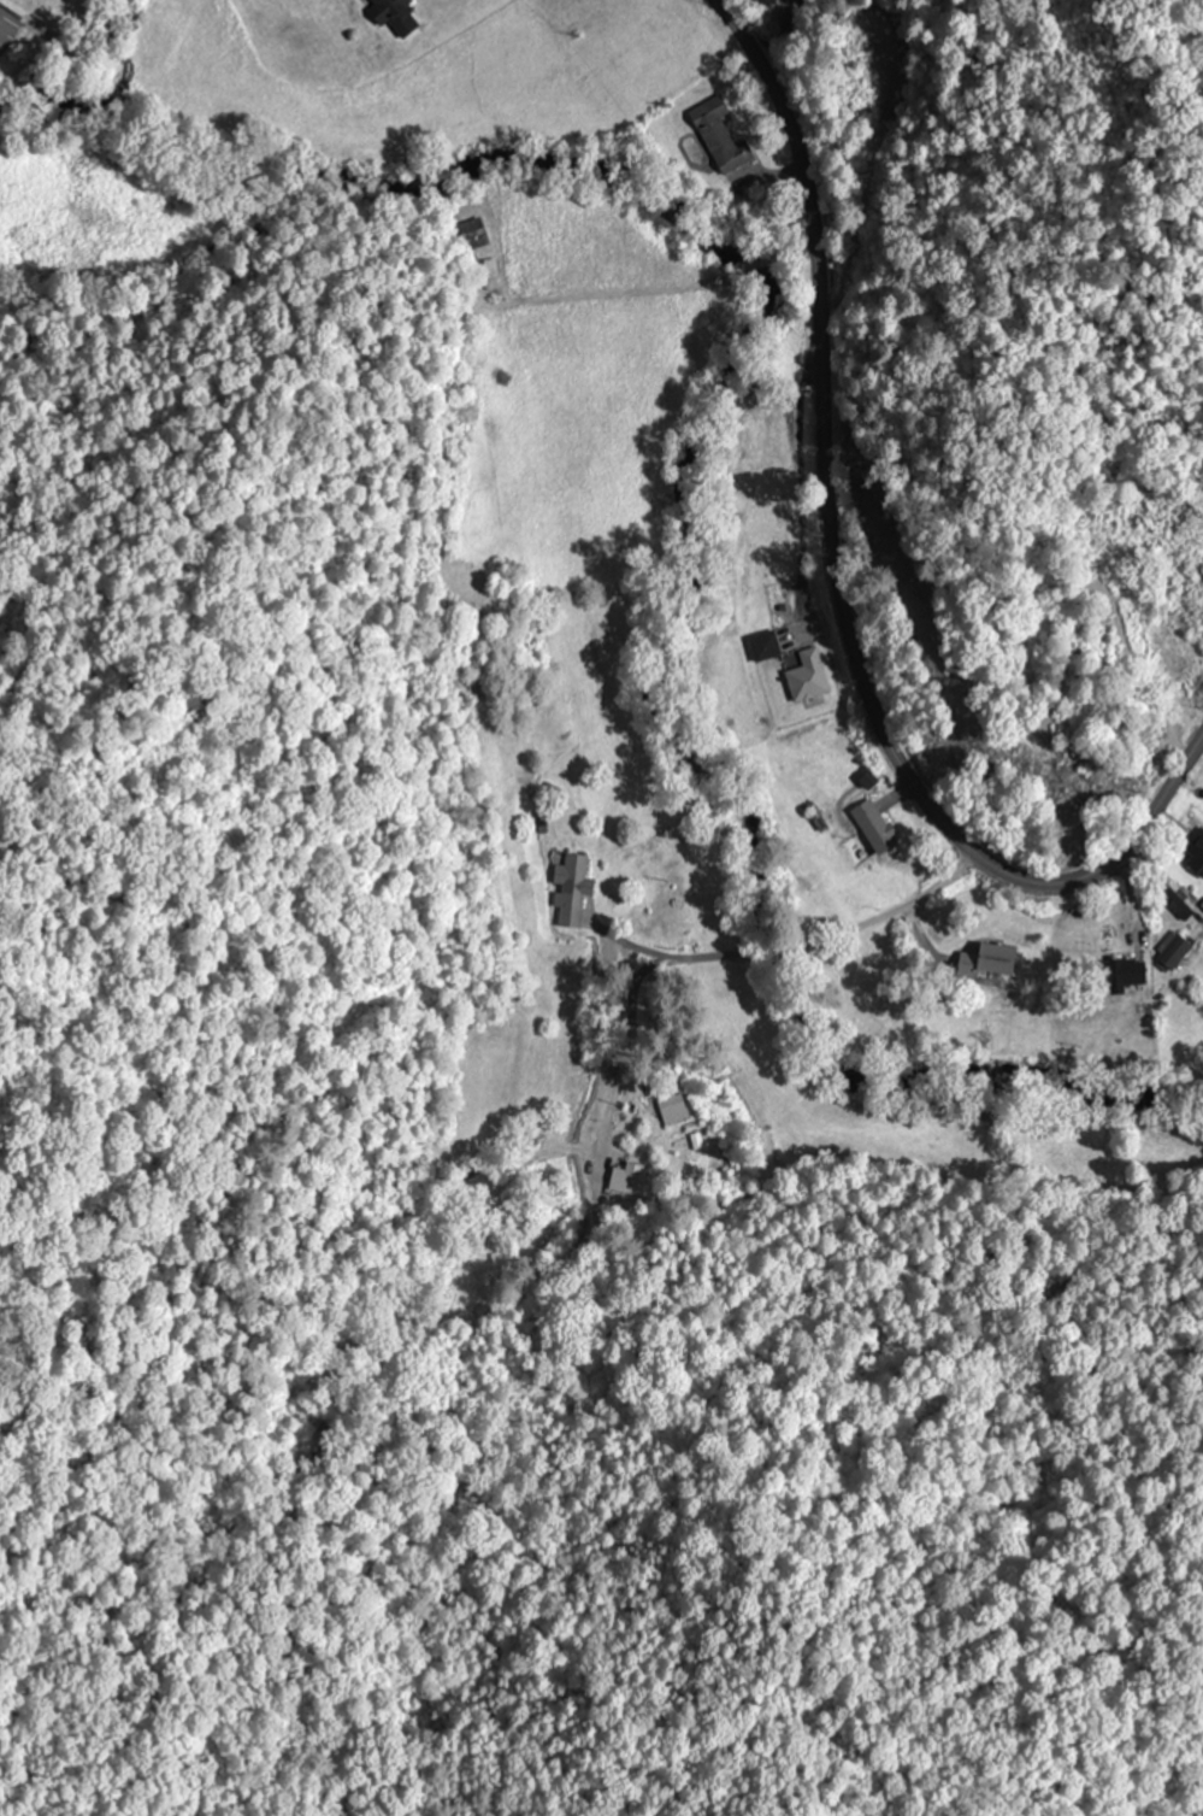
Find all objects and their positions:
building: (767, 1)
building: (394, 14)
building: (718, 136)
building: (472, 234)
building: (489, 269)
road: (835, 589)
building: (763, 646)
building: (807, 675)
building: (878, 834)
building: (1195, 852)
building: (573, 889)
building: (1172, 895)
building: (1170, 951)
building: (986, 958)
road: (712, 960)
building: (1115, 972)
building: (633, 1174)

